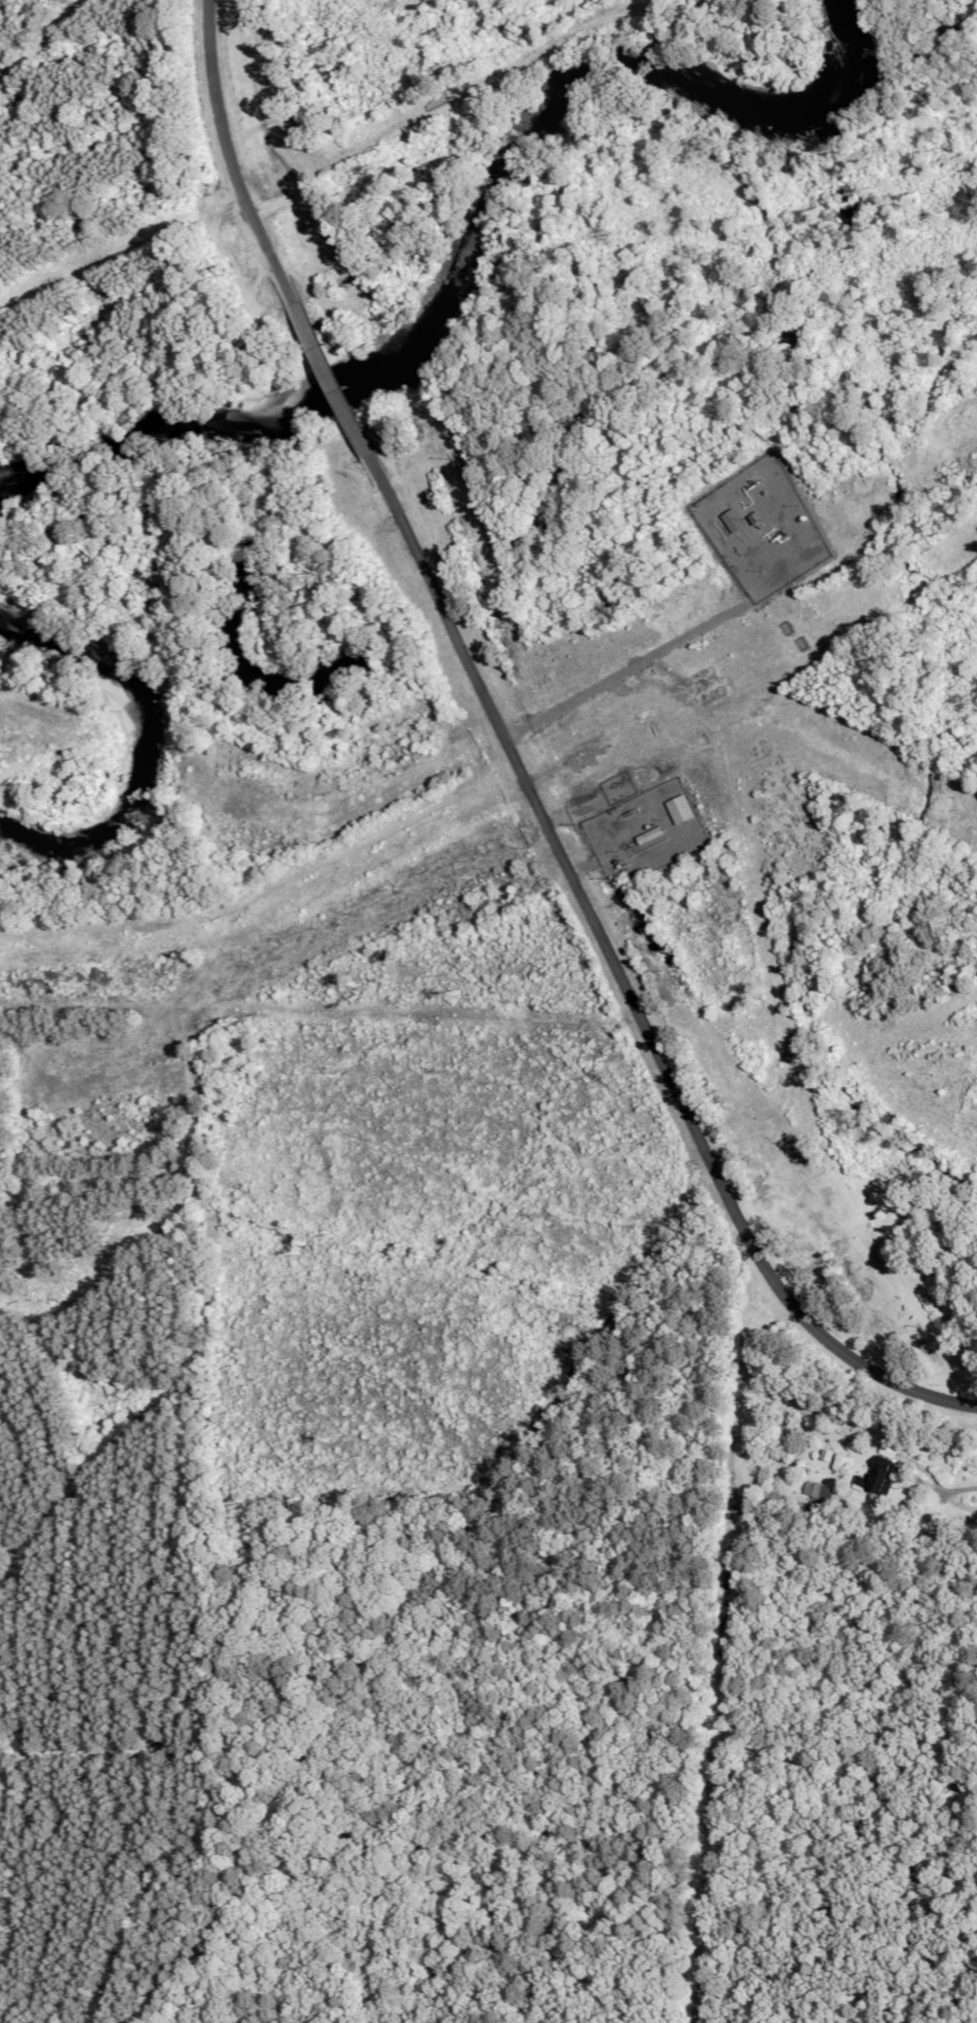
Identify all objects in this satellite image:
road: (236, 183)
river: (471, 235)
road: (342, 403)
river: (140, 747)
road: (621, 982)
building: (879, 1480)
building: (829, 1500)

